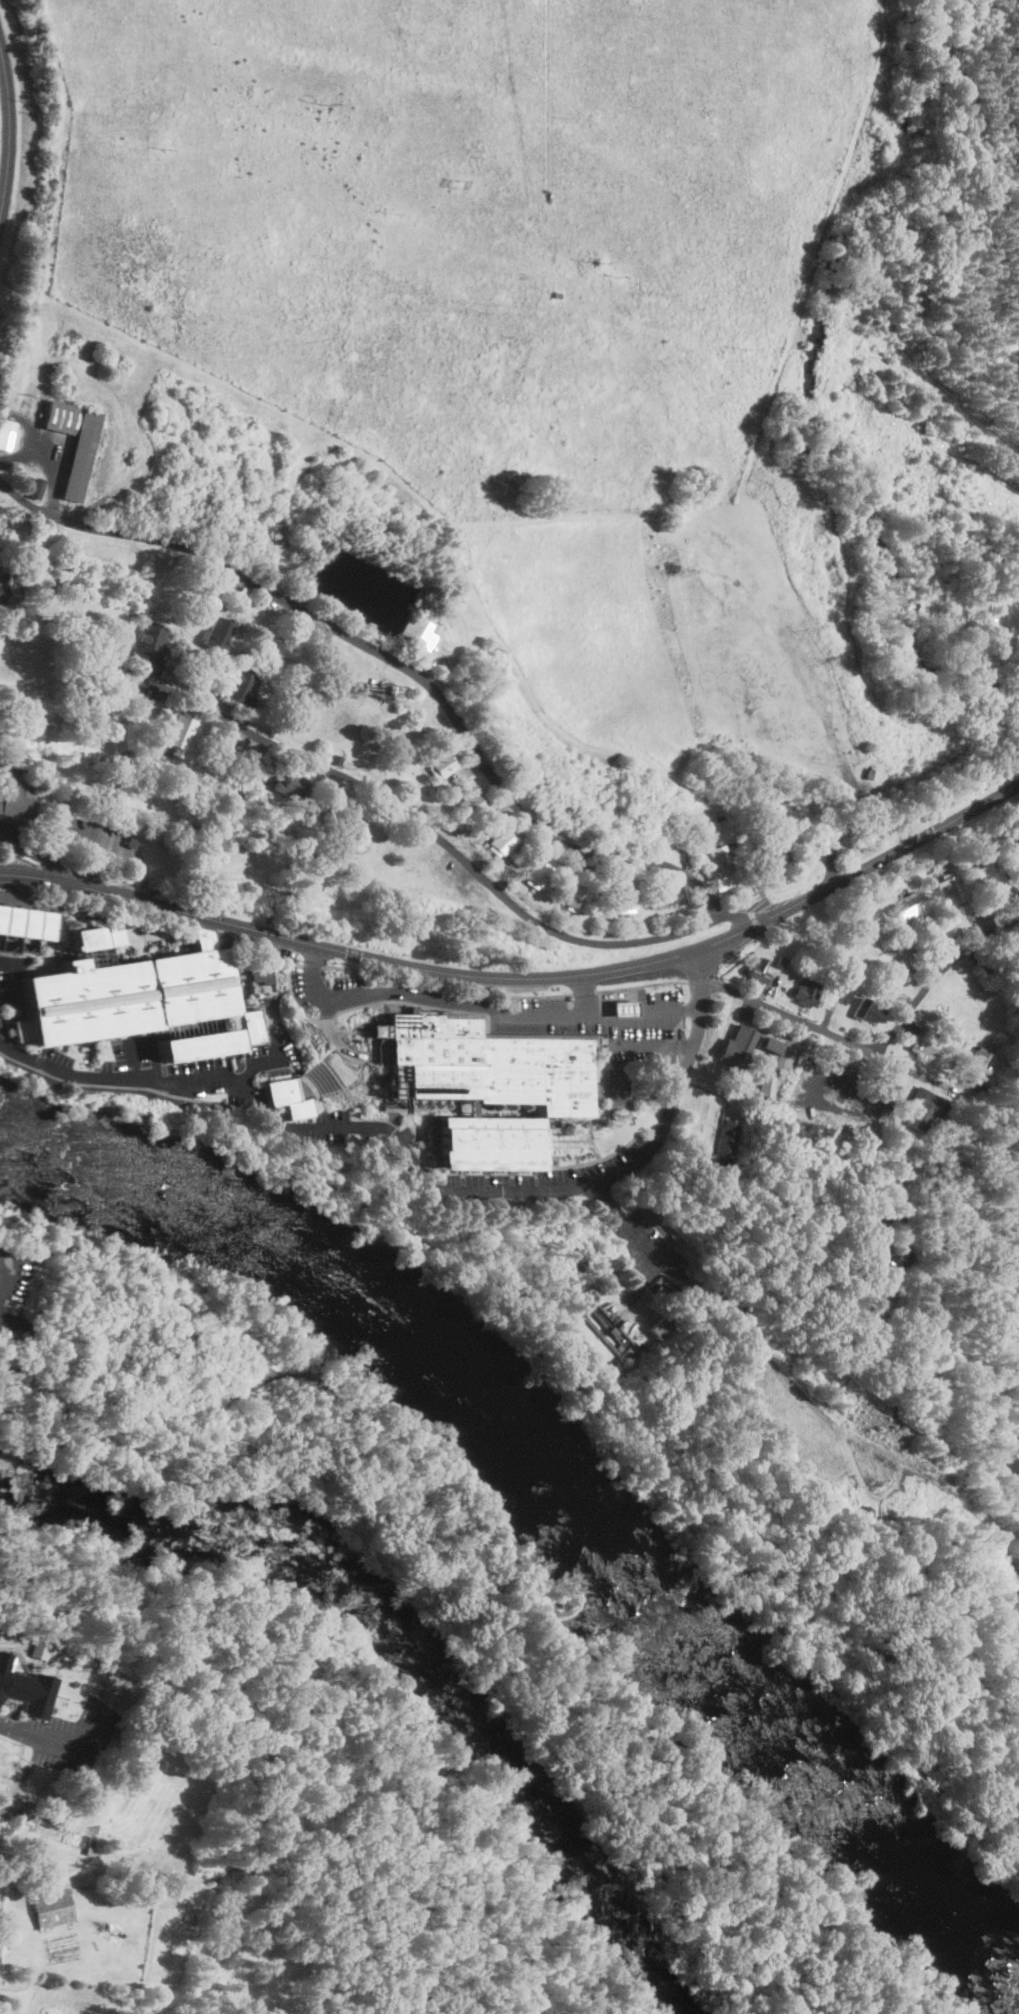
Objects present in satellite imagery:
building: (370, 32)
road: (9, 133)
crop: (469, 221)
road: (46, 287)
building: (557, 295)
building: (31, 398)
building: (6, 430)
building: (74, 439)
building: (35, 487)
road: (285, 509)
road: (758, 510)
road: (628, 517)
road: (694, 540)
road: (708, 551)
building: (4, 582)
building: (245, 591)
building: (417, 631)
building: (218, 632)
building: (150, 645)
road: (408, 669)
building: (240, 684)
building: (392, 688)
water tower: (392, 688)
road: (555, 724)
building: (180, 731)
road: (697, 738)
building: (242, 758)
building: (336, 758)
building: (432, 762)
building: (441, 765)
building: (290, 783)
building: (16, 787)
building: (233, 794)
building: (1, 796)
road: (763, 797)
building: (470, 804)
road: (848, 805)
parking lot: (11, 834)
road: (433, 834)
parking lot: (95, 838)
building: (134, 841)
building: (500, 841)
road: (103, 844)
road: (41, 852)
building: (1018, 852)
building: (774, 853)
building: (1018, 858)
building: (721, 867)
building: (525, 872)
building: (536, 874)
building: (991, 874)
building: (1018, 878)
building: (952, 889)
building: (674, 892)
building: (626, 893)
road: (268, 895)
road: (347, 897)
building: (575, 898)
building: (902, 907)
building: (27, 915)
road: (162, 928)
road: (268, 928)
building: (202, 937)
road: (314, 965)
building: (758, 970)
building: (263, 976)
road: (525, 978)
road: (650, 985)
road: (447, 990)
building: (807, 992)
road: (585, 993)
building: (141, 999)
road: (446, 1001)
building: (616, 1006)
gas station: (629, 1007)
road: (439, 1009)
building: (867, 1010)
parking lot: (531, 1013)
road: (642, 1020)
road: (355, 1033)
building: (548, 1035)
building: (745, 1039)
building: (772, 1044)
building: (926, 1044)
road: (651, 1047)
road: (348, 1048)
road: (330, 1051)
road: (867, 1051)
building: (487, 1064)
building: (978, 1066)
parking lot: (173, 1068)
road: (359, 1076)
road: (124, 1077)
road: (622, 1084)
parking lot: (616, 1085)
building: (765, 1085)
road: (119, 1086)
road: (640, 1089)
road: (669, 1089)
building: (290, 1097)
road: (427, 1103)
road: (378, 1106)
building: (472, 1106)
building: (924, 1107)
road: (436, 1108)
road: (430, 1116)
road: (598, 1118)
road: (286, 1126)
road: (572, 1139)
road: (593, 1139)
building: (492, 1141)
road: (902, 1157)
road: (598, 1160)
road: (569, 1187)
road: (637, 1231)
building: (871, 1242)
road: (13, 1245)
parking lot: (648, 1253)
road: (456, 1266)
road: (5, 1270)
road: (149, 1280)
parking lot: (12, 1288)
building: (662, 1325)
road: (6, 1350)
road: (36, 1351)
road: (147, 1406)
road: (843, 1434)
road: (623, 1440)
road: (868, 1498)
river: (550, 1504)
building: (868, 1509)
road: (1015, 1583)
park: (424, 1598)
road: (454, 1620)
road: (806, 1660)
road: (527, 1661)
building: (23, 1690)
road: (586, 1719)
road: (20, 1733)
building: (48, 1906)

